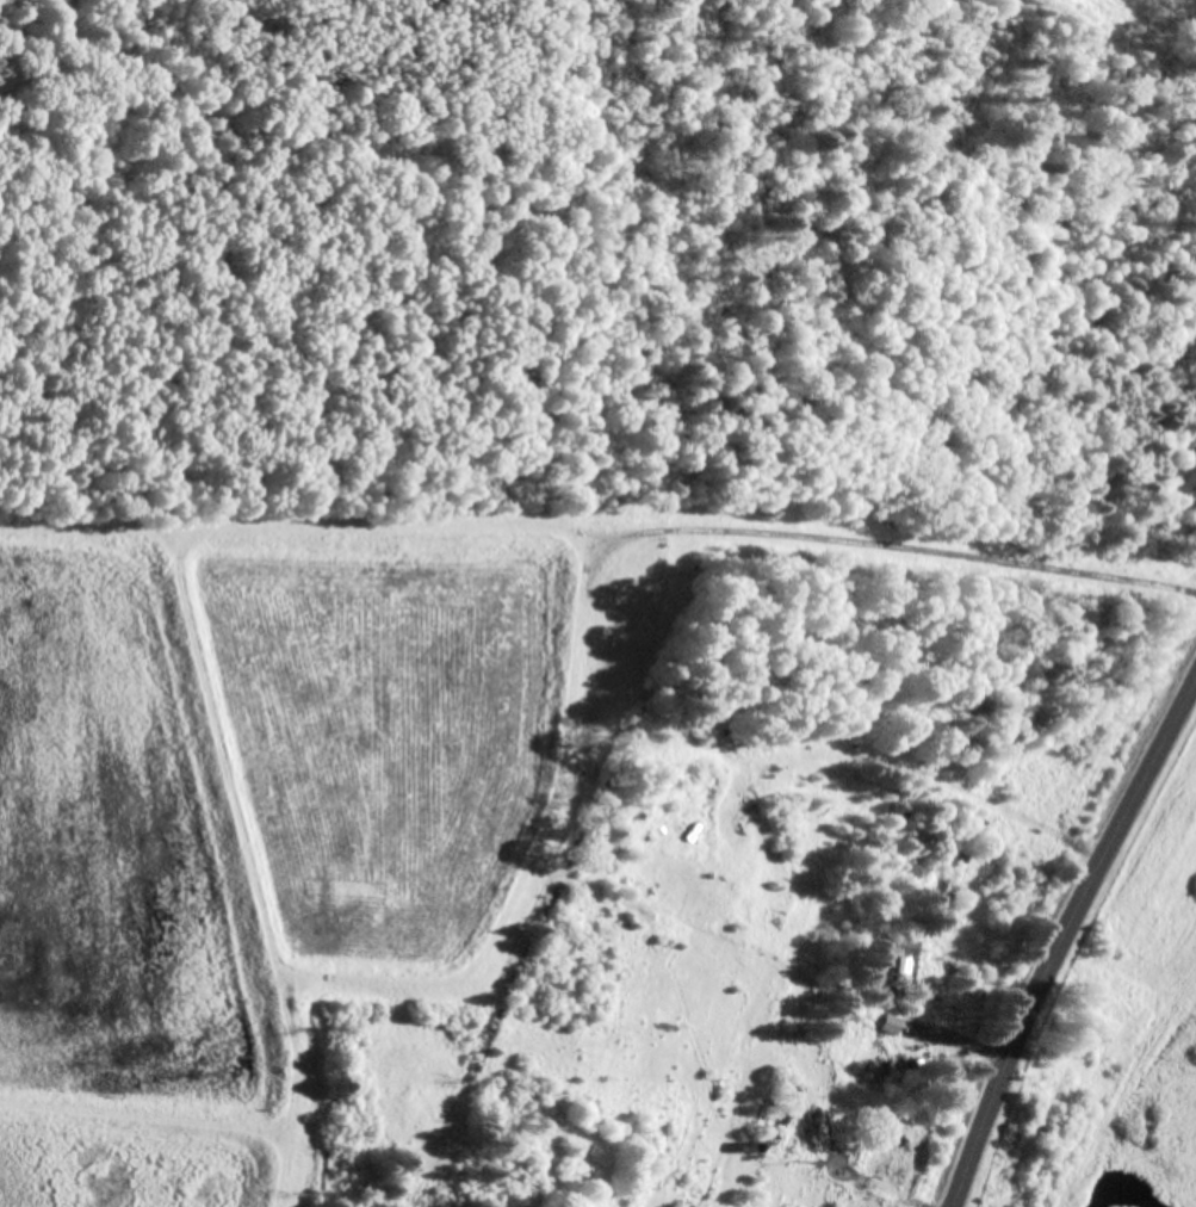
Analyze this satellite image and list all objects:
building: (952, 881)
road: (1062, 937)
building: (894, 954)

